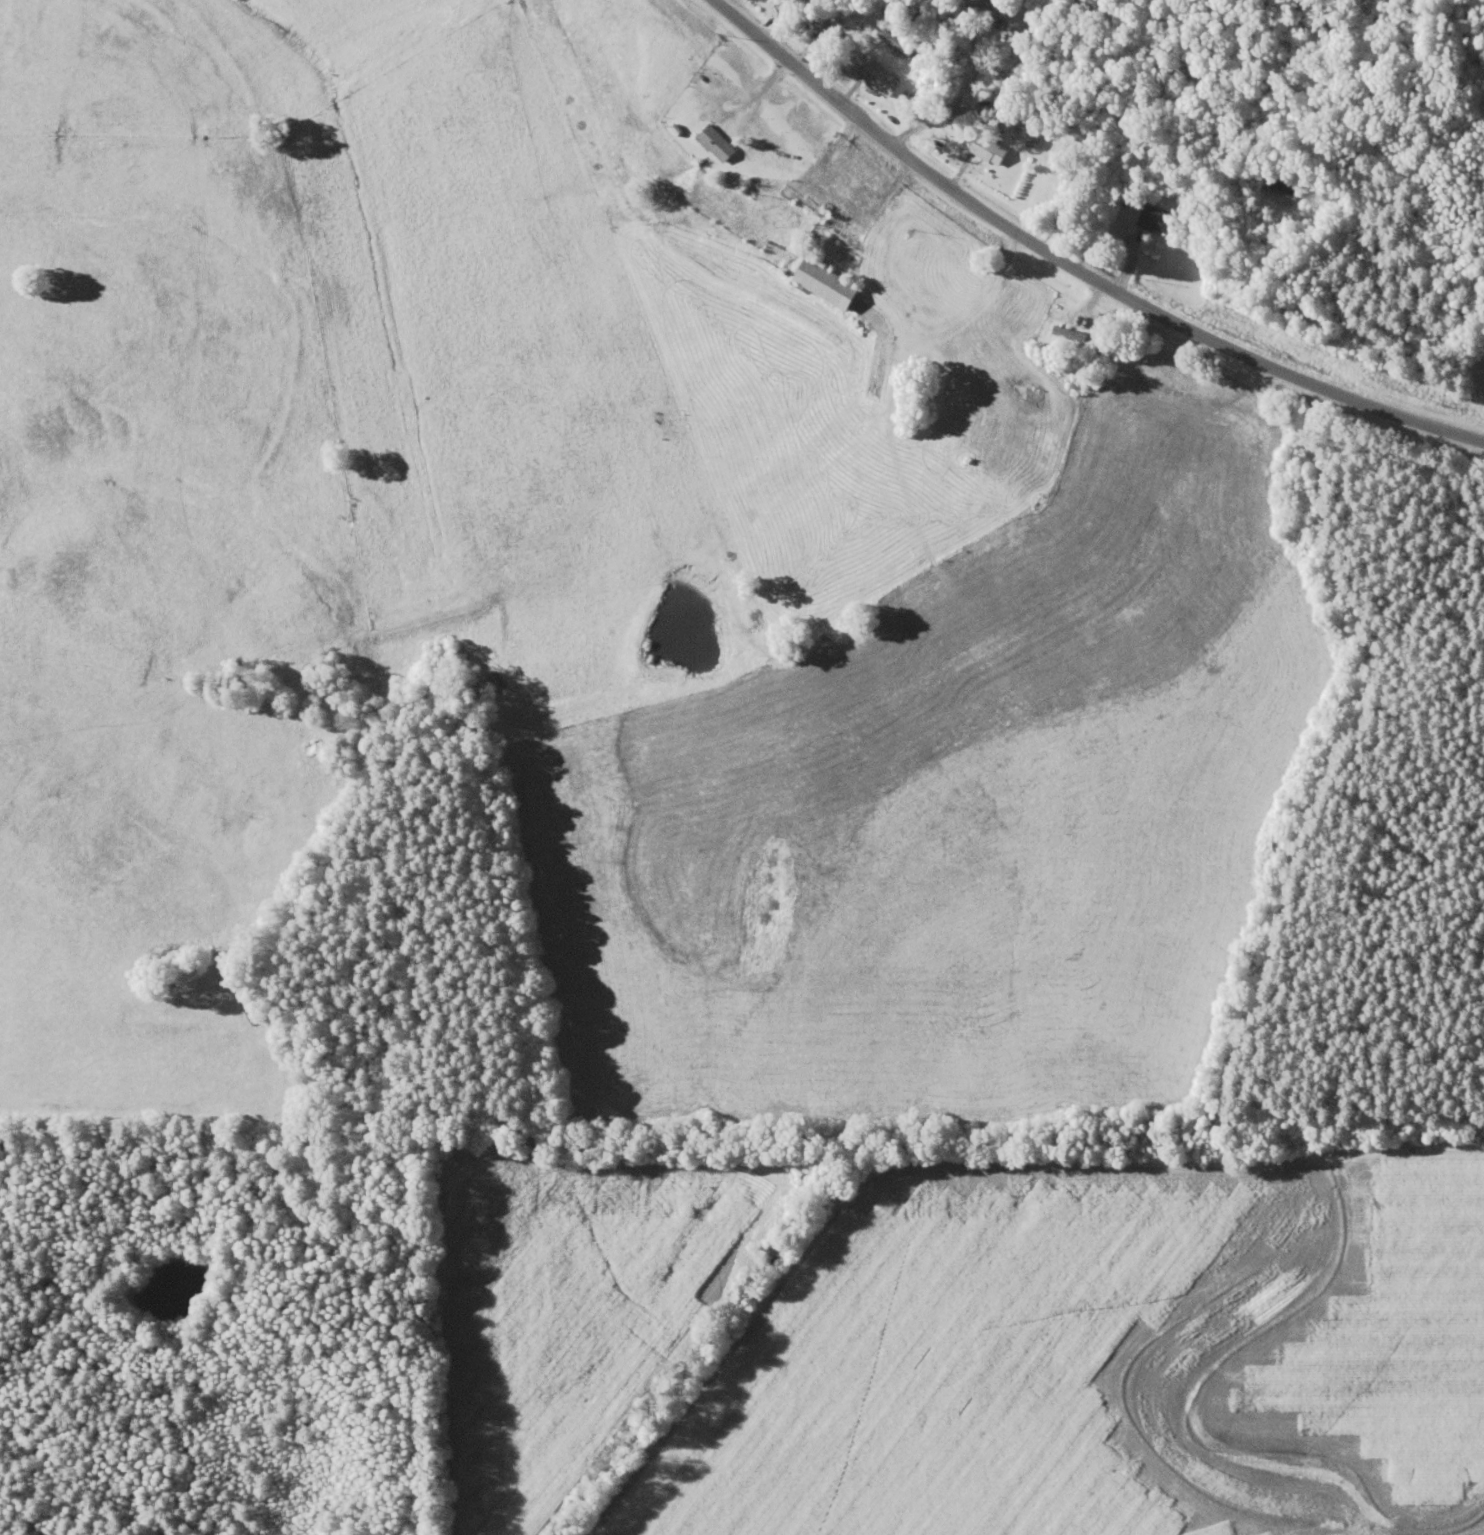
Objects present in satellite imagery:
building: (821, 29)
building: (891, 42)
building: (875, 78)
building: (1028, 140)
building: (711, 143)
building: (984, 149)
building: (1151, 218)
road: (1072, 266)
building: (820, 284)
building: (1065, 333)

